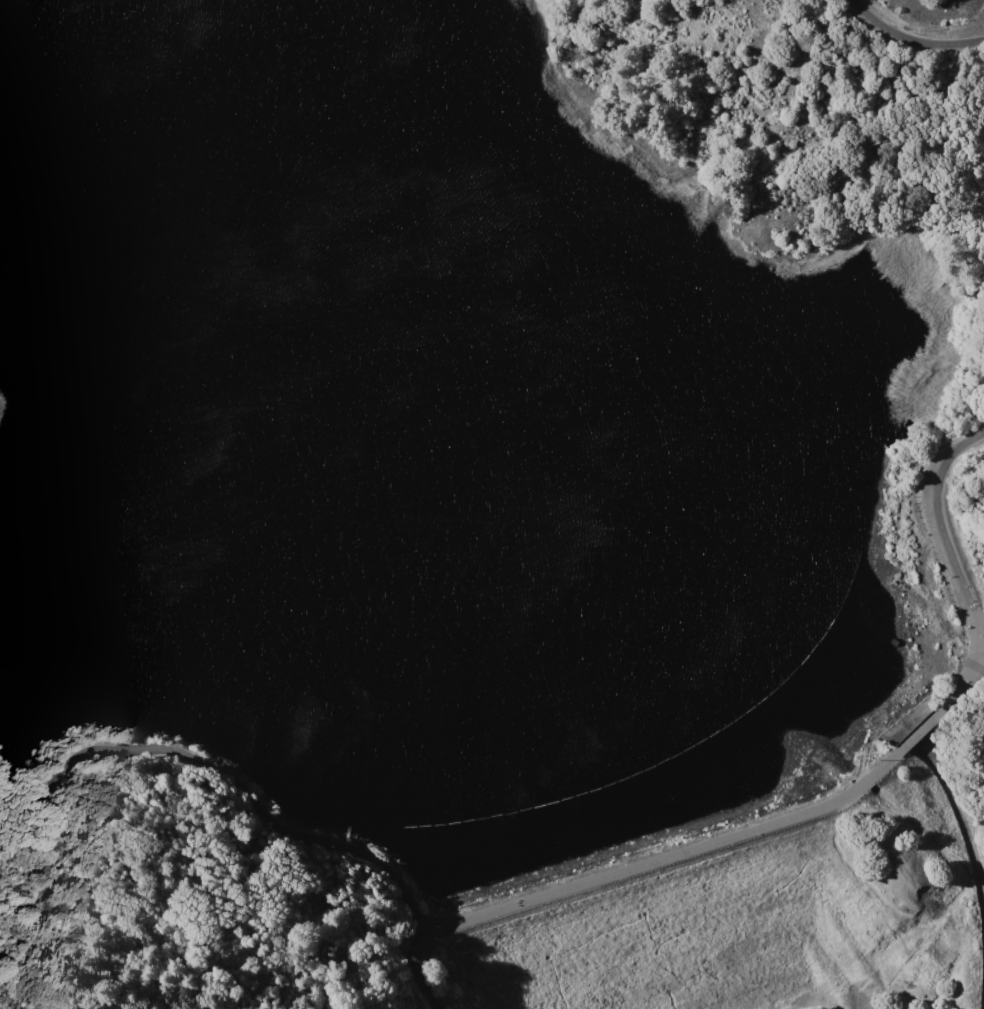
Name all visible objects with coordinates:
road: (914, 38)
road: (945, 531)
road: (962, 686)
road: (917, 731)
road: (202, 765)
dam: (734, 835)
road: (668, 856)
road: (416, 972)

